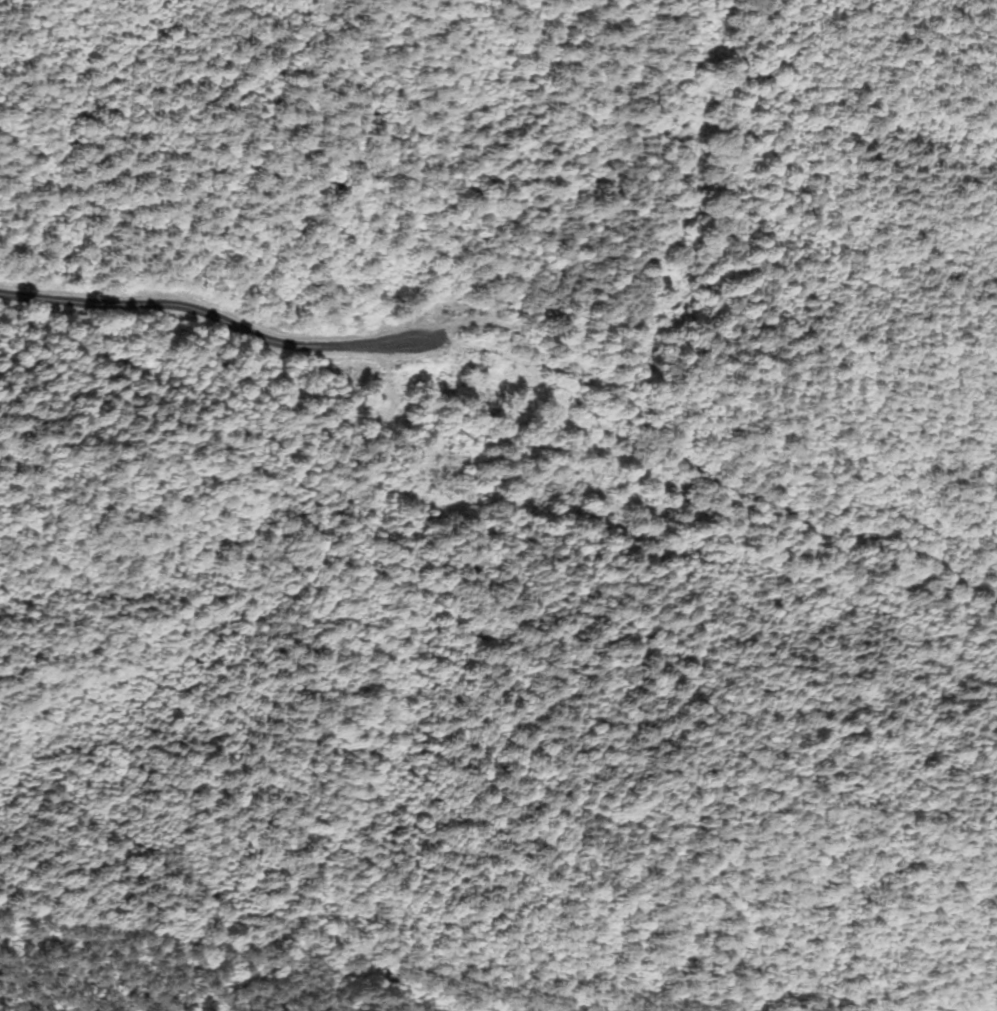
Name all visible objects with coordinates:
road: (218, 315)
road: (713, 473)

